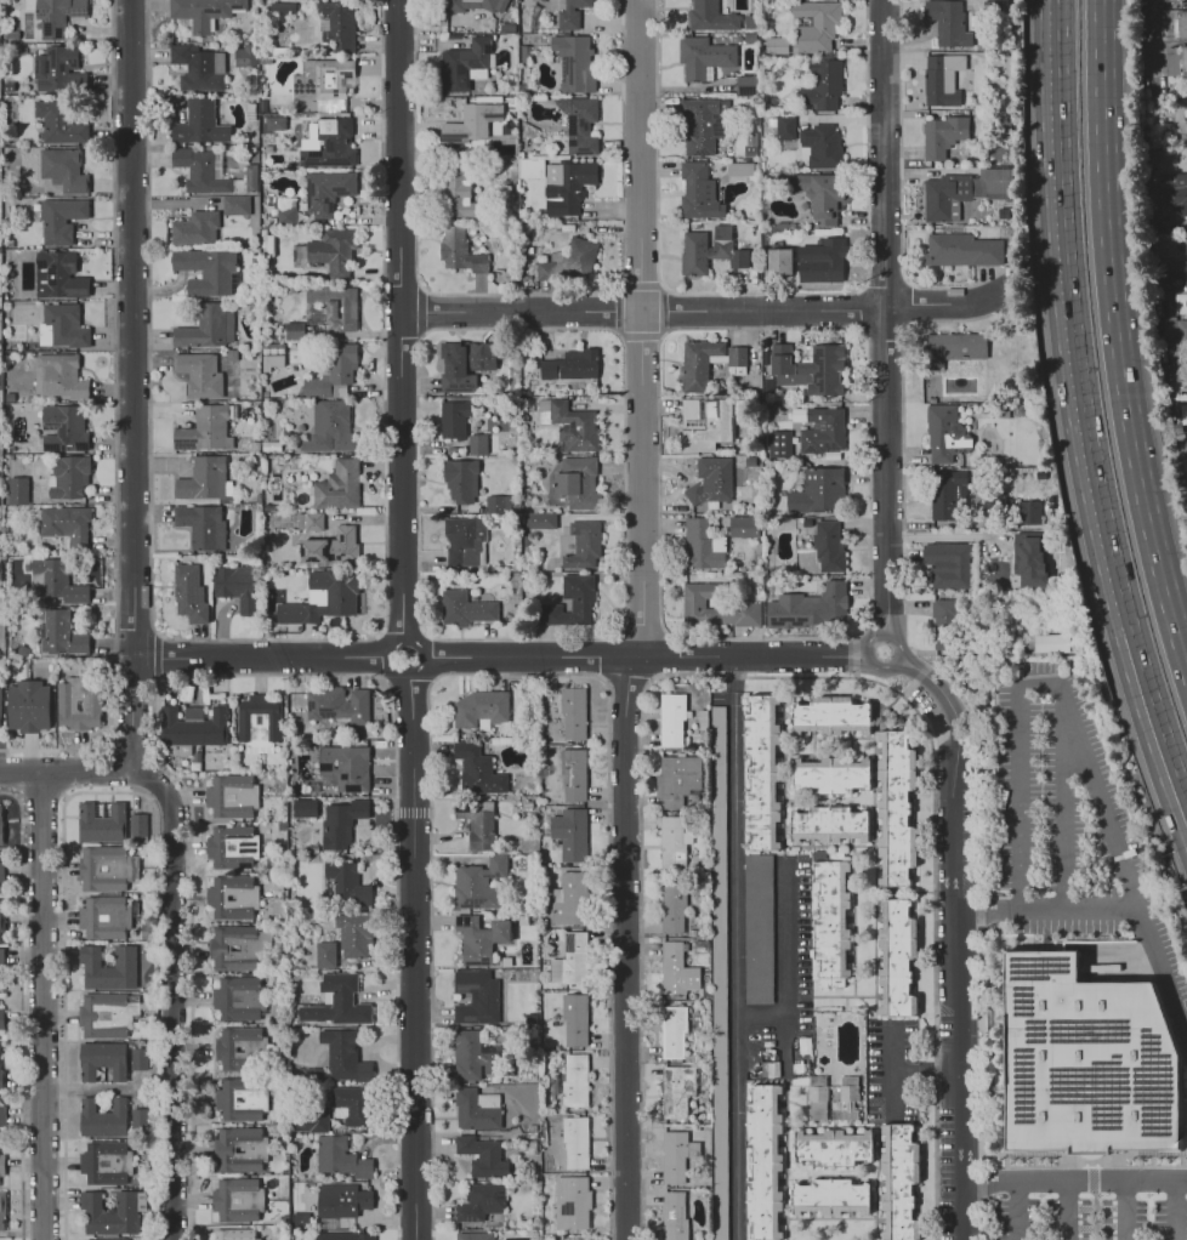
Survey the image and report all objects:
building: (1168, 0)
building: (473, 5)
building: (203, 11)
building: (280, 11)
building: (570, 13)
building: (55, 15)
building: (710, 16)
building: (945, 22)
building: (1174, 23)
building: (336, 24)
building: (814, 24)
building: (776, 45)
building: (244, 55)
building: (703, 56)
building: (1183, 59)
building: (573, 61)
building: (462, 64)
building: (198, 67)
building: (58, 69)
building: (322, 79)
building: (941, 79)
building: (745, 84)
building: (822, 85)
road: (1101, 114)
building: (58, 121)
building: (471, 121)
building: (199, 123)
building: (274, 123)
building: (578, 124)
building: (702, 124)
building: (784, 126)
building: (942, 136)
building: (330, 144)
building: (819, 146)
building: (530, 167)
building: (63, 170)
building: (198, 170)
building: (990, 184)
building: (566, 186)
building: (326, 190)
building: (698, 192)
building: (456, 193)
building: (822, 195)
building: (944, 198)
building: (1166, 201)
building: (235, 204)
building: (285, 214)
building: (61, 218)
building: (194, 227)
building: (458, 250)
building: (709, 250)
building: (960, 250)
building: (326, 252)
road: (1170, 258)
building: (572, 260)
building: (819, 260)
building: (778, 261)
building: (206, 269)
building: (58, 274)
road: (1163, 275)
road: (1169, 279)
road: (1172, 292)
building: (335, 306)
road: (705, 312)
road: (885, 317)
road: (401, 319)
road: (1075, 320)
building: (61, 325)
building: (206, 325)
road: (131, 328)
building: (293, 330)
building: (1176, 347)
building: (272, 354)
building: (954, 354)
building: (464, 364)
building: (569, 365)
building: (694, 368)
building: (810, 368)
building: (331, 369)
building: (204, 374)
building: (61, 375)
building: (453, 417)
building: (704, 422)
building: (568, 423)
road: (114, 426)
building: (329, 426)
building: (61, 428)
building: (819, 428)
building: (204, 430)
building: (944, 433)
building: (476, 443)
building: (778, 443)
road: (1135, 446)
building: (1182, 456)
building: (67, 477)
building: (204, 478)
building: (460, 480)
building: (710, 480)
building: (575, 482)
building: (337, 485)
building: (16, 489)
building: (817, 490)
building: (948, 494)
building: (496, 504)
building: (1027, 511)
building: (538, 519)
building: (313, 521)
building: (64, 524)
building: (201, 525)
building: (743, 525)
building: (464, 540)
building: (583, 544)
building: (702, 545)
building: (330, 546)
building: (828, 546)
building: (1028, 559)
building: (947, 564)
building: (55, 580)
building: (235, 586)
building: (188, 593)
building: (323, 597)
building: (570, 603)
building: (712, 607)
building: (808, 607)
building: (464, 608)
building: (943, 616)
road: (643, 621)
road: (134, 625)
building: (59, 633)
road: (158, 635)
road: (268, 639)
building: (1049, 642)
road: (390, 654)
road: (642, 655)
road: (155, 656)
road: (261, 656)
road: (887, 669)
road: (428, 682)
building: (337, 704)
building: (68, 705)
building: (29, 706)
building: (1, 709)
building: (478, 709)
building: (573, 713)
road: (134, 715)
building: (830, 716)
road: (1160, 716)
road: (154, 718)
building: (671, 719)
building: (257, 722)
building: (193, 726)
road: (1078, 740)
building: (343, 767)
building: (476, 769)
building: (761, 772)
road: (67, 773)
building: (573, 774)
building: (831, 775)
building: (676, 779)
road: (153, 780)
building: (231, 795)
parking lot: (1060, 796)
road: (40, 798)
road: (1062, 802)
building: (303, 807)
building: (894, 808)
building: (340, 821)
building: (102, 823)
building: (829, 824)
building: (140, 825)
building: (1, 826)
building: (477, 827)
building: (569, 832)
building: (672, 843)
building: (231, 846)
building: (108, 869)
building: (2, 872)
building: (479, 882)
building: (346, 883)
building: (231, 897)
building: (569, 899)
building: (670, 909)
road: (1045, 914)
building: (1, 917)
building: (106, 917)
building: (831, 917)
building: (757, 928)
building: (500, 931)
building: (352, 935)
road: (953, 939)
building: (472, 942)
road: (734, 946)
building: (238, 948)
building: (324, 954)
road: (410, 955)
road: (784, 955)
building: (896, 957)
building: (569, 960)
building: (109, 968)
building: (676, 969)
building: (2, 971)
building: (719, 973)
road: (63, 974)
building: (475, 996)
road: (176, 997)
building: (237, 997)
building: (336, 1001)
road: (42, 1006)
road: (21, 1009)
building: (108, 1014)
building: (2, 1019)
building: (574, 1019)
building: (671, 1031)
building: (240, 1047)
building: (342, 1054)
building: (103, 1060)
building: (140, 1060)
building: (1087, 1062)
road: (903, 1069)
building: (2, 1075)
building: (574, 1079)
building: (675, 1090)
building: (848, 1093)
road: (888, 1093)
building: (240, 1098)
building: (817, 1098)
building: (352, 1103)
building: (476, 1108)
building: (848, 1110)
building: (2, 1116)
building: (104, 1119)
building: (309, 1120)
building: (142, 1121)
building: (574, 1142)
building: (834, 1148)
building: (239, 1149)
building: (481, 1155)
building: (676, 1155)
building: (339, 1157)
building: (762, 1161)
building: (121, 1164)
building: (2, 1166)
building: (898, 1181)
road: (993, 1182)
road: (1074, 1182)
building: (829, 1196)
building: (235, 1199)
building: (340, 1200)
building: (479, 1201)
building: (570, 1202)
building: (2, 1211)
road: (1068, 1211)
road: (1126, 1211)
road: (1176, 1211)
building: (127, 1212)
building: (674, 1215)
parking lot: (1091, 1215)
building: (235, 1234)
building: (345, 1235)
building: (472, 1235)
building: (109, 1239)
building: (574, 1239)

